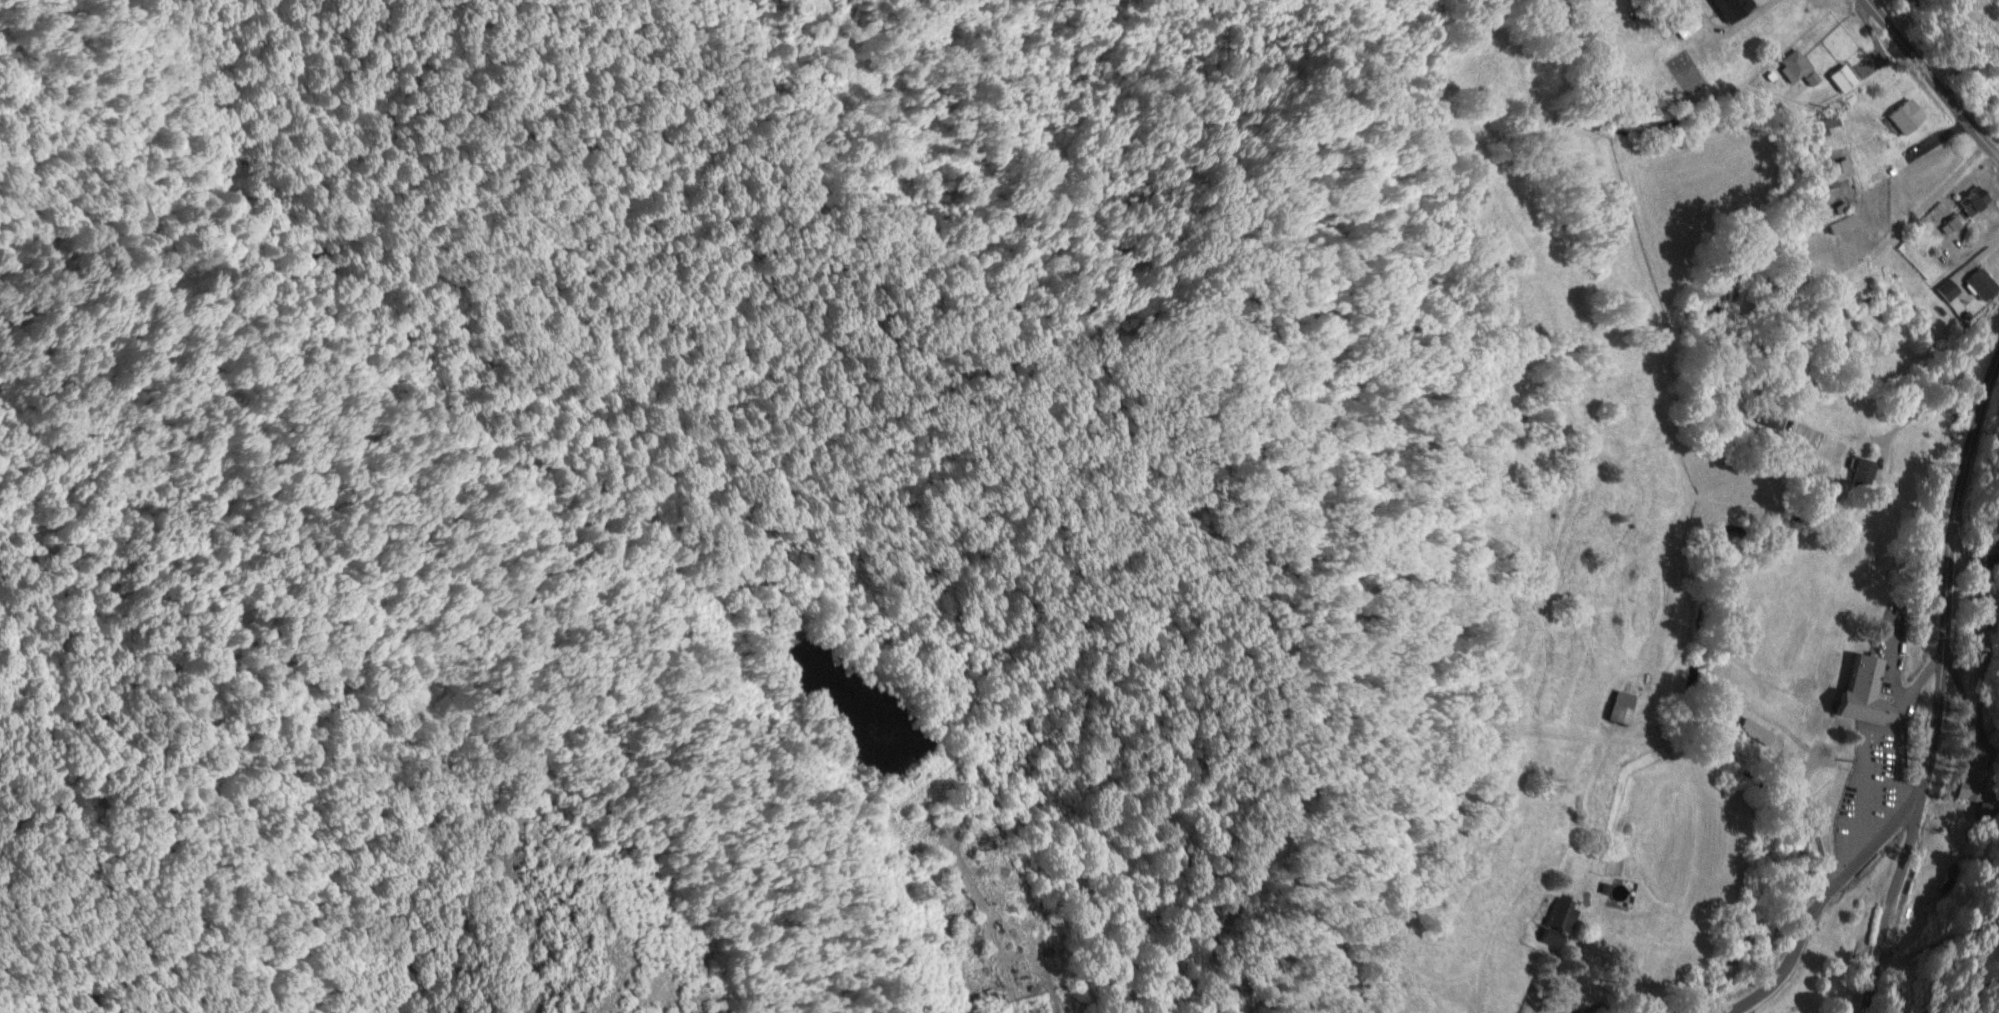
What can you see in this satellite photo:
building: (1762, 19)
building: (1799, 69)
building: (1845, 78)
road: (1934, 79)
building: (1909, 116)
building: (1839, 170)
building: (1976, 201)
building: (1982, 282)
building: (1950, 290)
building: (1864, 303)
building: (1865, 472)
road: (1941, 691)
building: (1869, 694)
building: (1625, 708)
building: (1970, 779)
road: (1819, 903)
building: (1560, 922)

